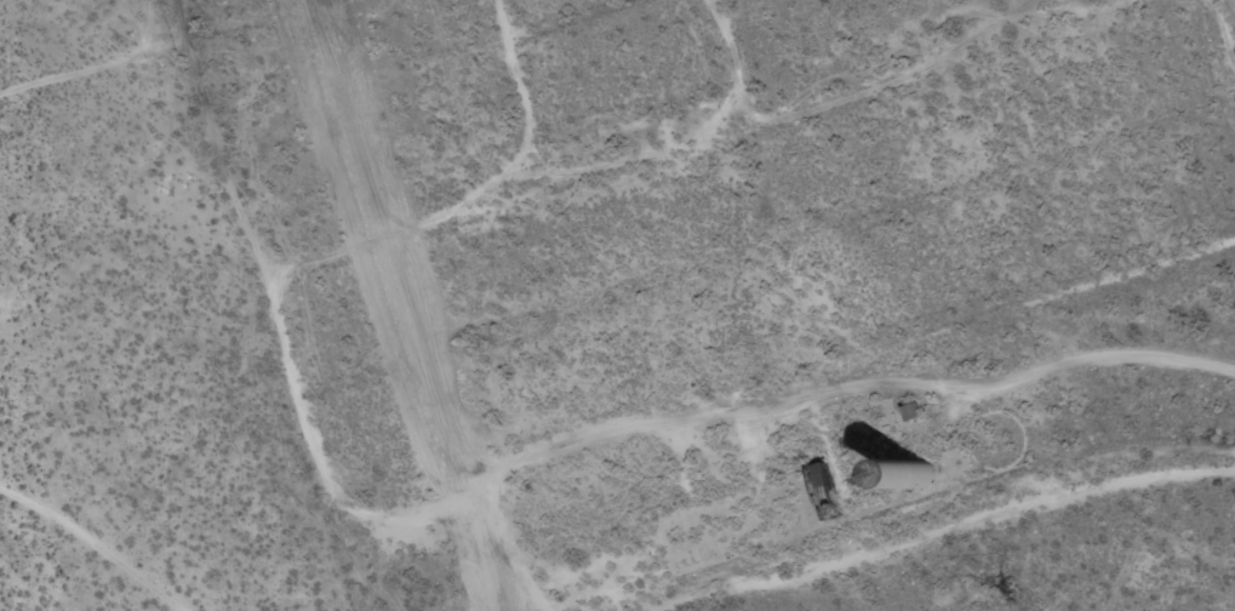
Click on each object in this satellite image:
road: (966, 36)
road: (435, 69)
road: (611, 141)
road: (1223, 251)
road: (1079, 384)
road: (513, 467)
road: (1019, 532)
road: (69, 579)

